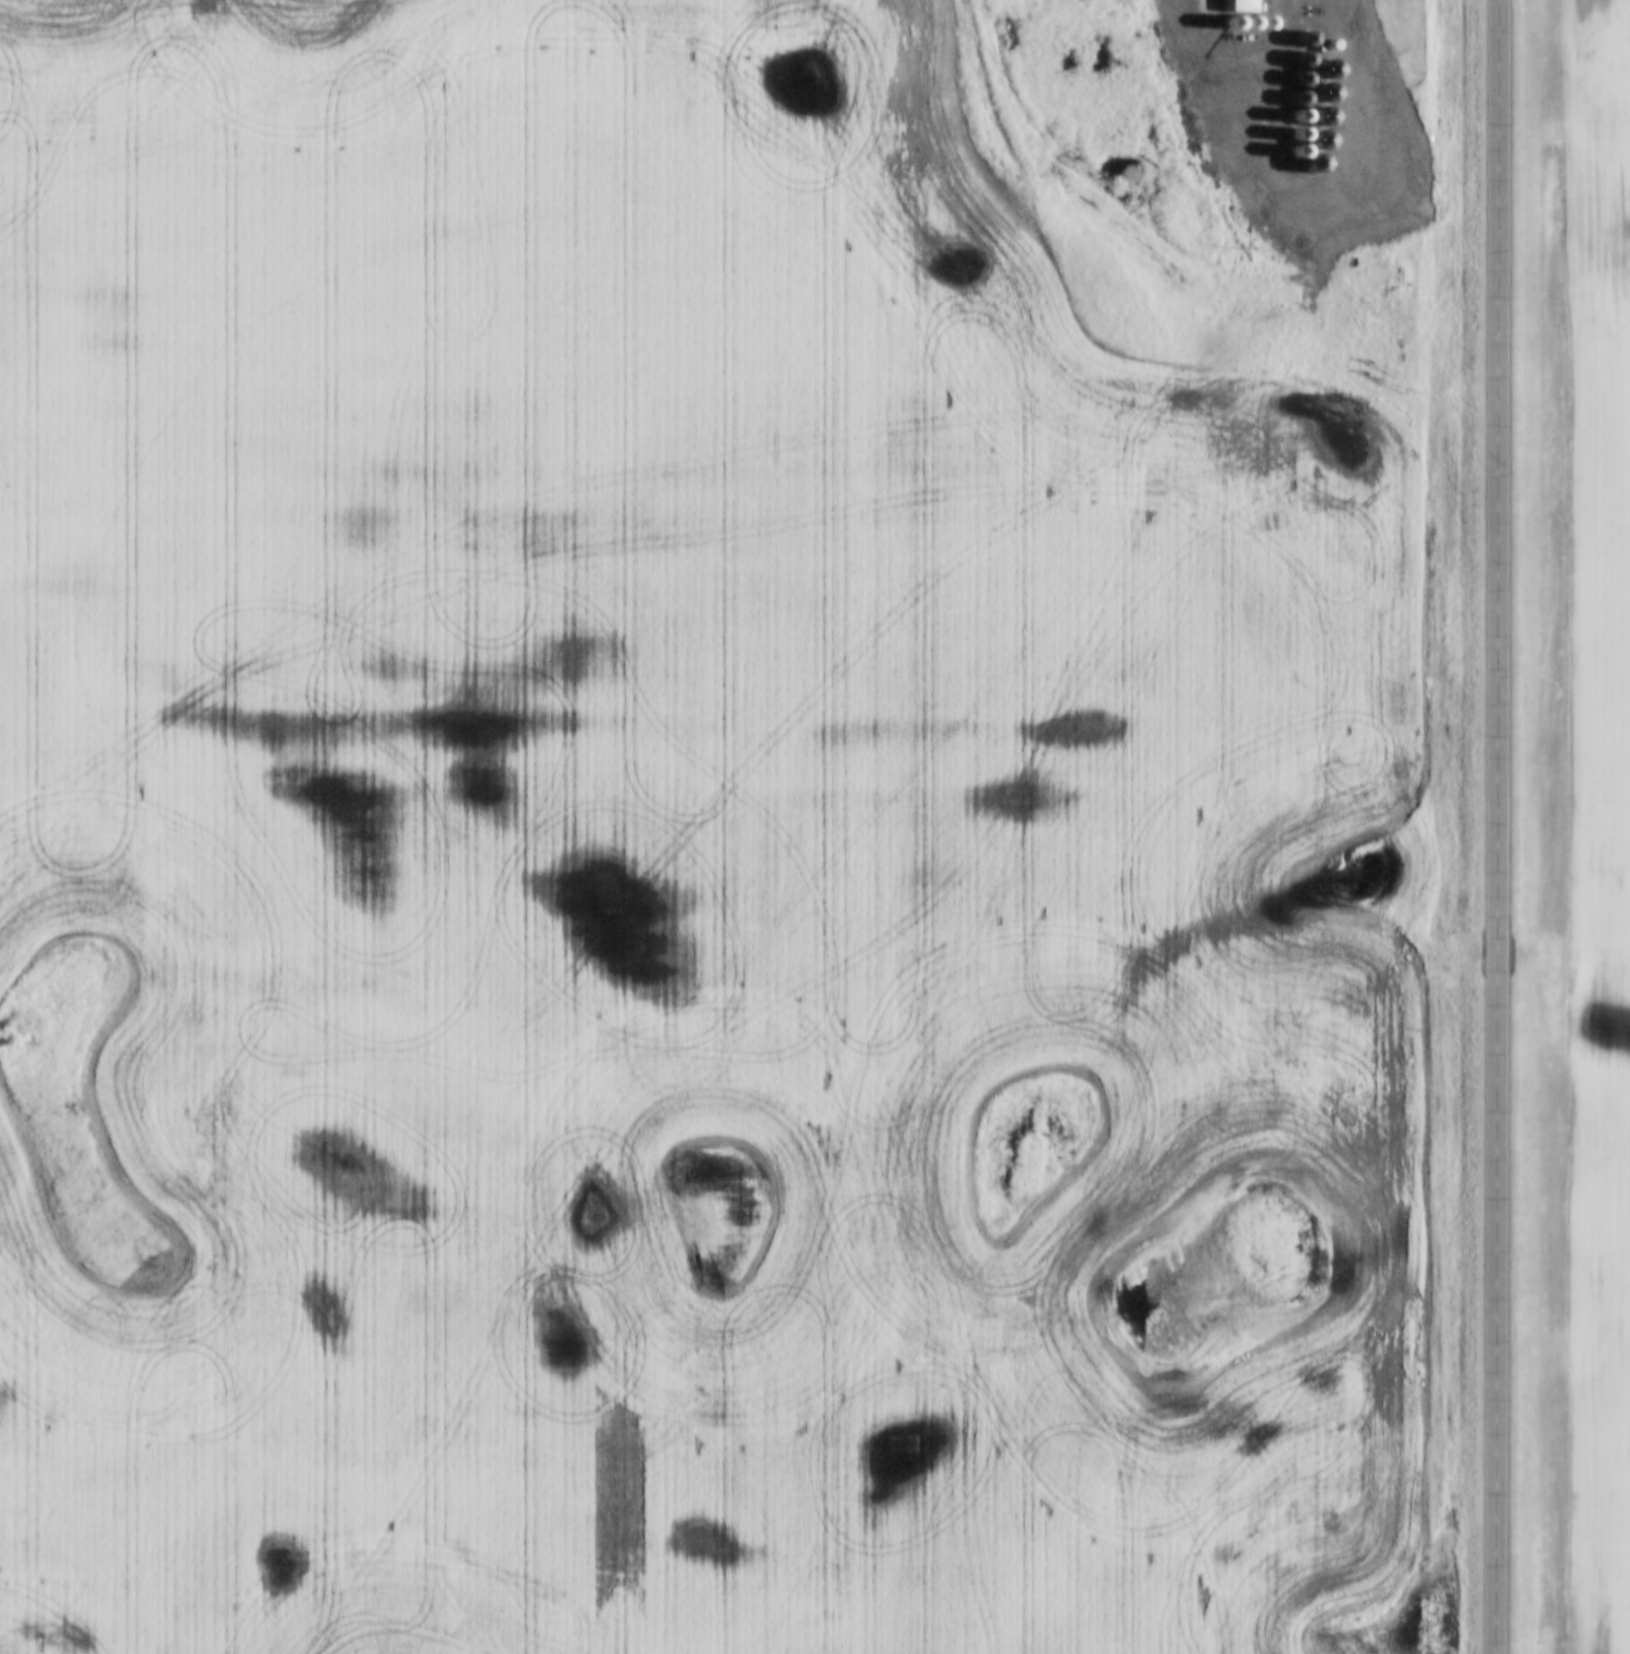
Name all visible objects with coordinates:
building: (1242, 5)
building: (1301, 90)
building: (1319, 111)
building: (1316, 142)
building: (1314, 164)
road: (1497, 827)

